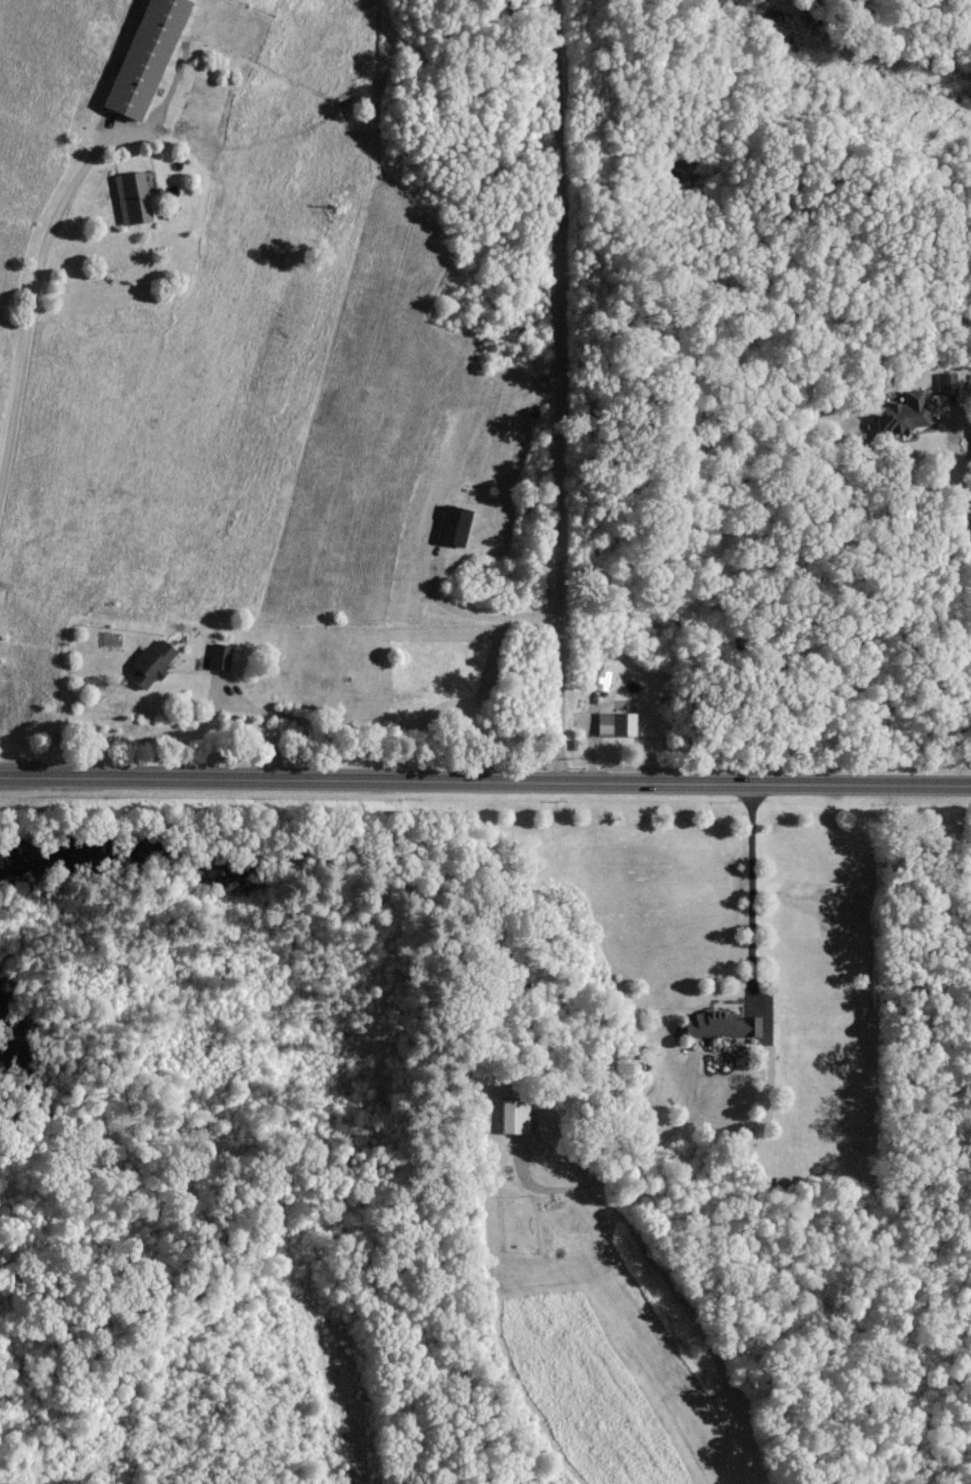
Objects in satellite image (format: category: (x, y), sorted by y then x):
building: (147, 57)
building: (133, 197)
road: (34, 289)
building: (948, 382)
road: (562, 390)
building: (904, 414)
road: (960, 468)
building: (454, 524)
road: (475, 614)
building: (221, 654)
building: (152, 663)
building: (603, 678)
road: (233, 705)
building: (618, 722)
road: (485, 779)
road: (753, 891)
building: (724, 1023)
building: (516, 1115)

